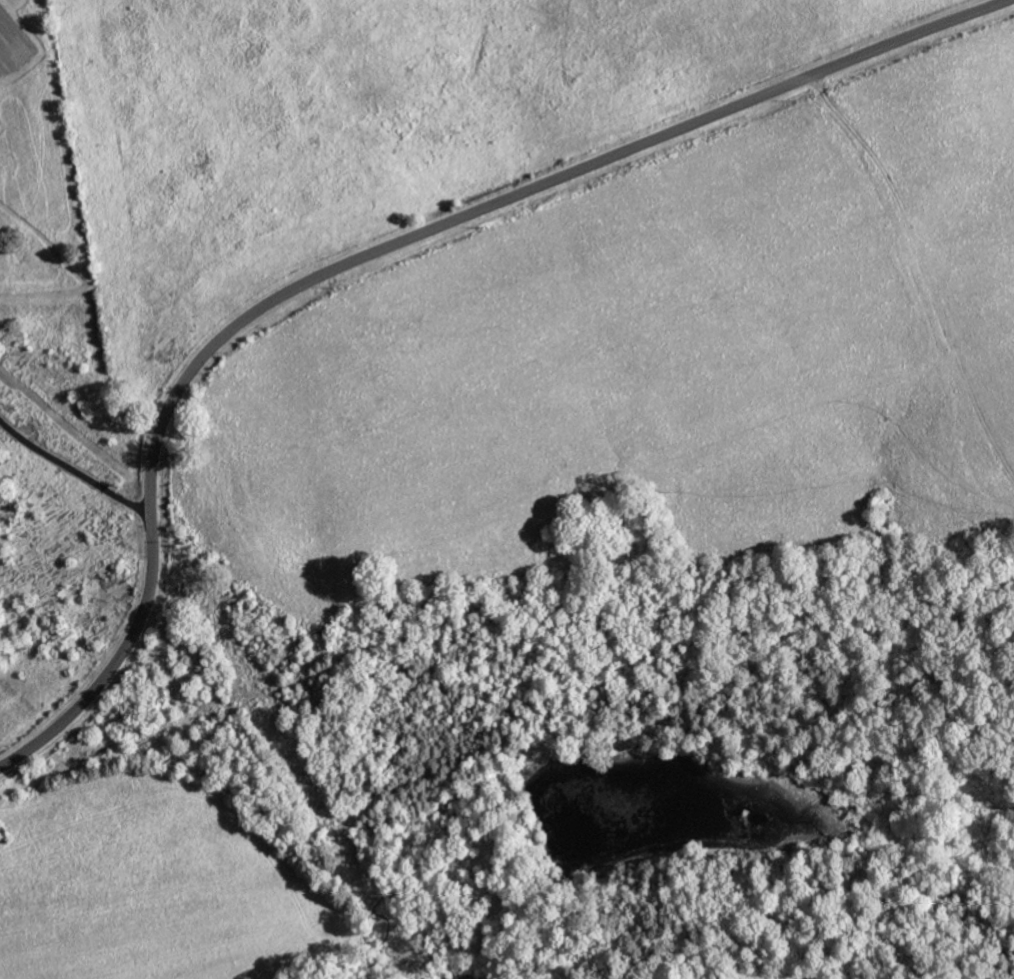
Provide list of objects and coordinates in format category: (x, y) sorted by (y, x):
road: (375, 254)
road: (78, 471)
road: (745, 878)

